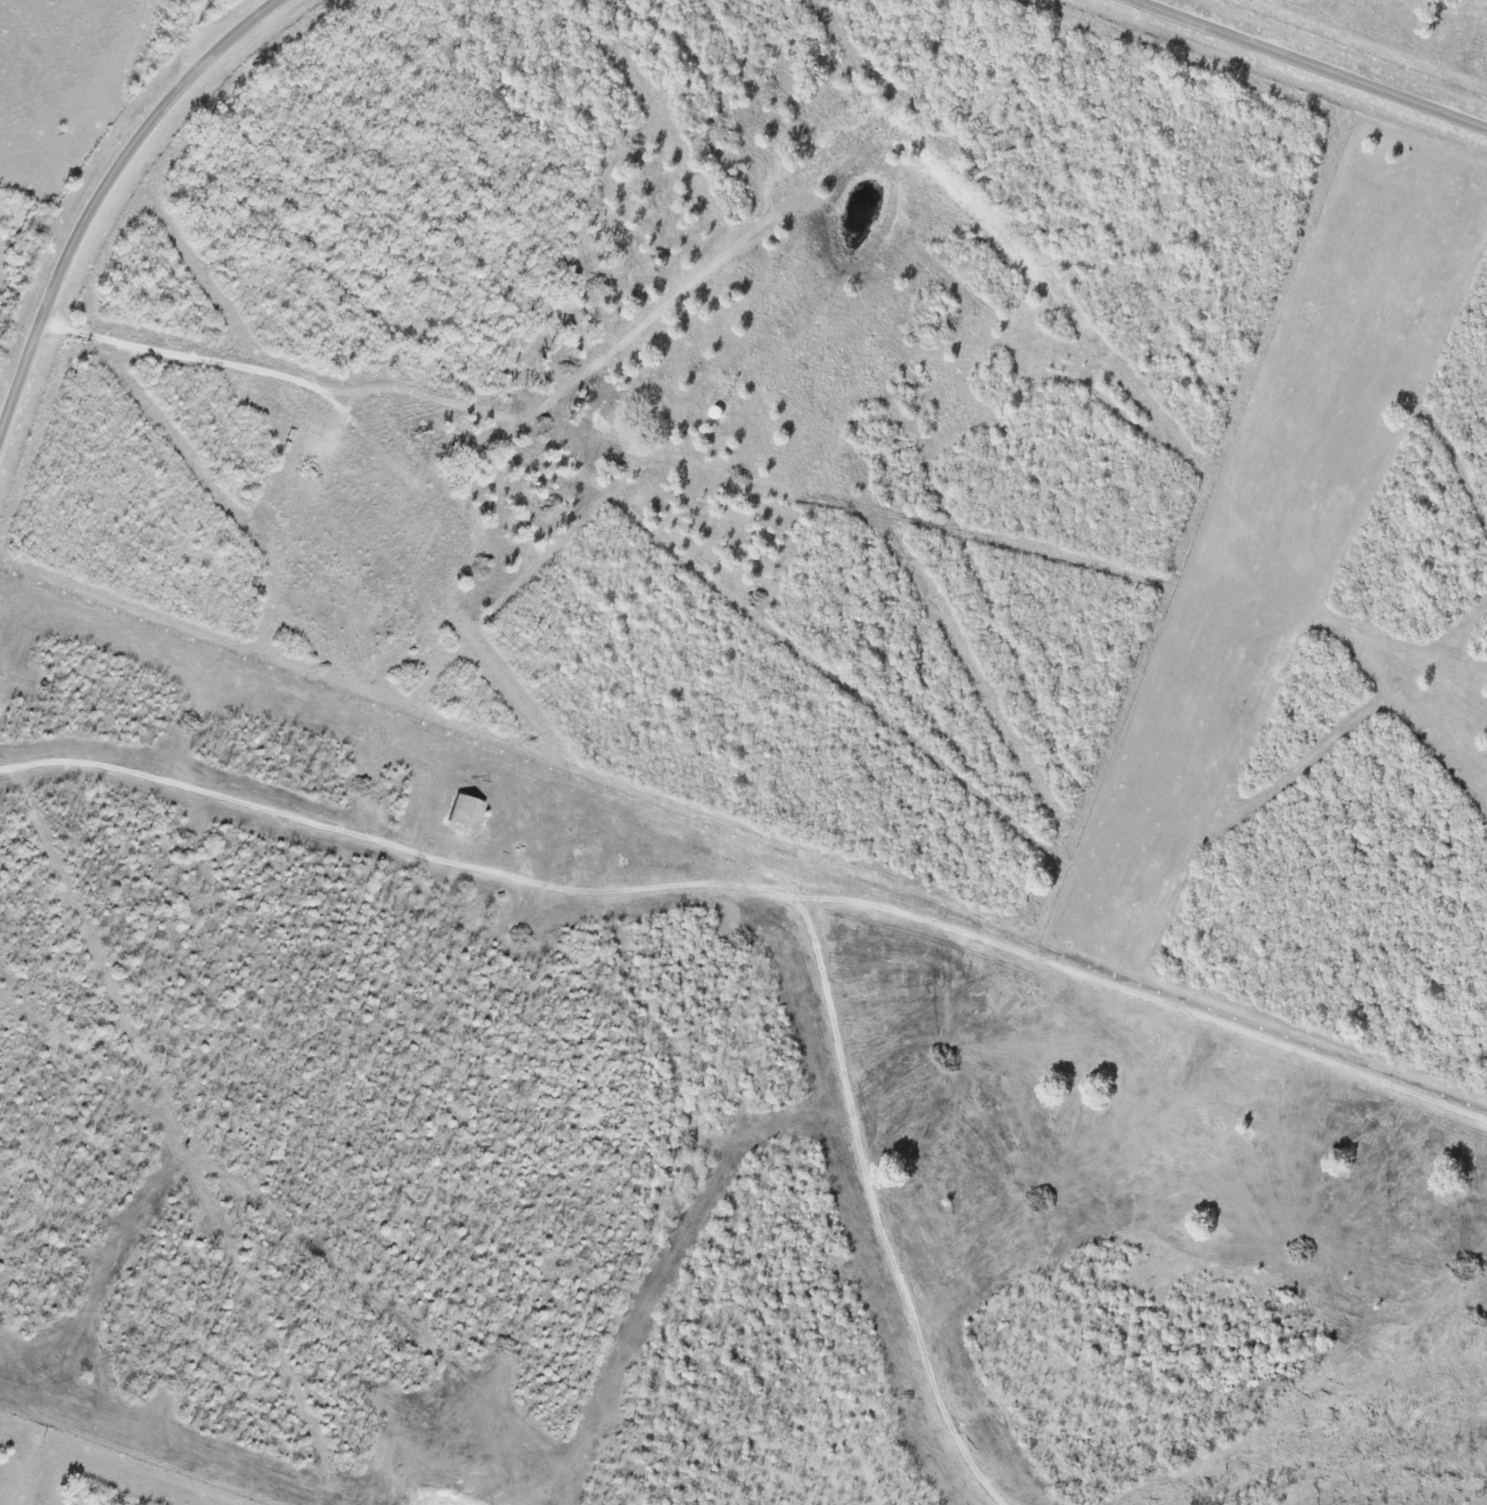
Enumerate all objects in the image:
road: (1309, 65)
road: (102, 201)
road: (1286, 236)
road: (1204, 395)
building: (467, 810)

